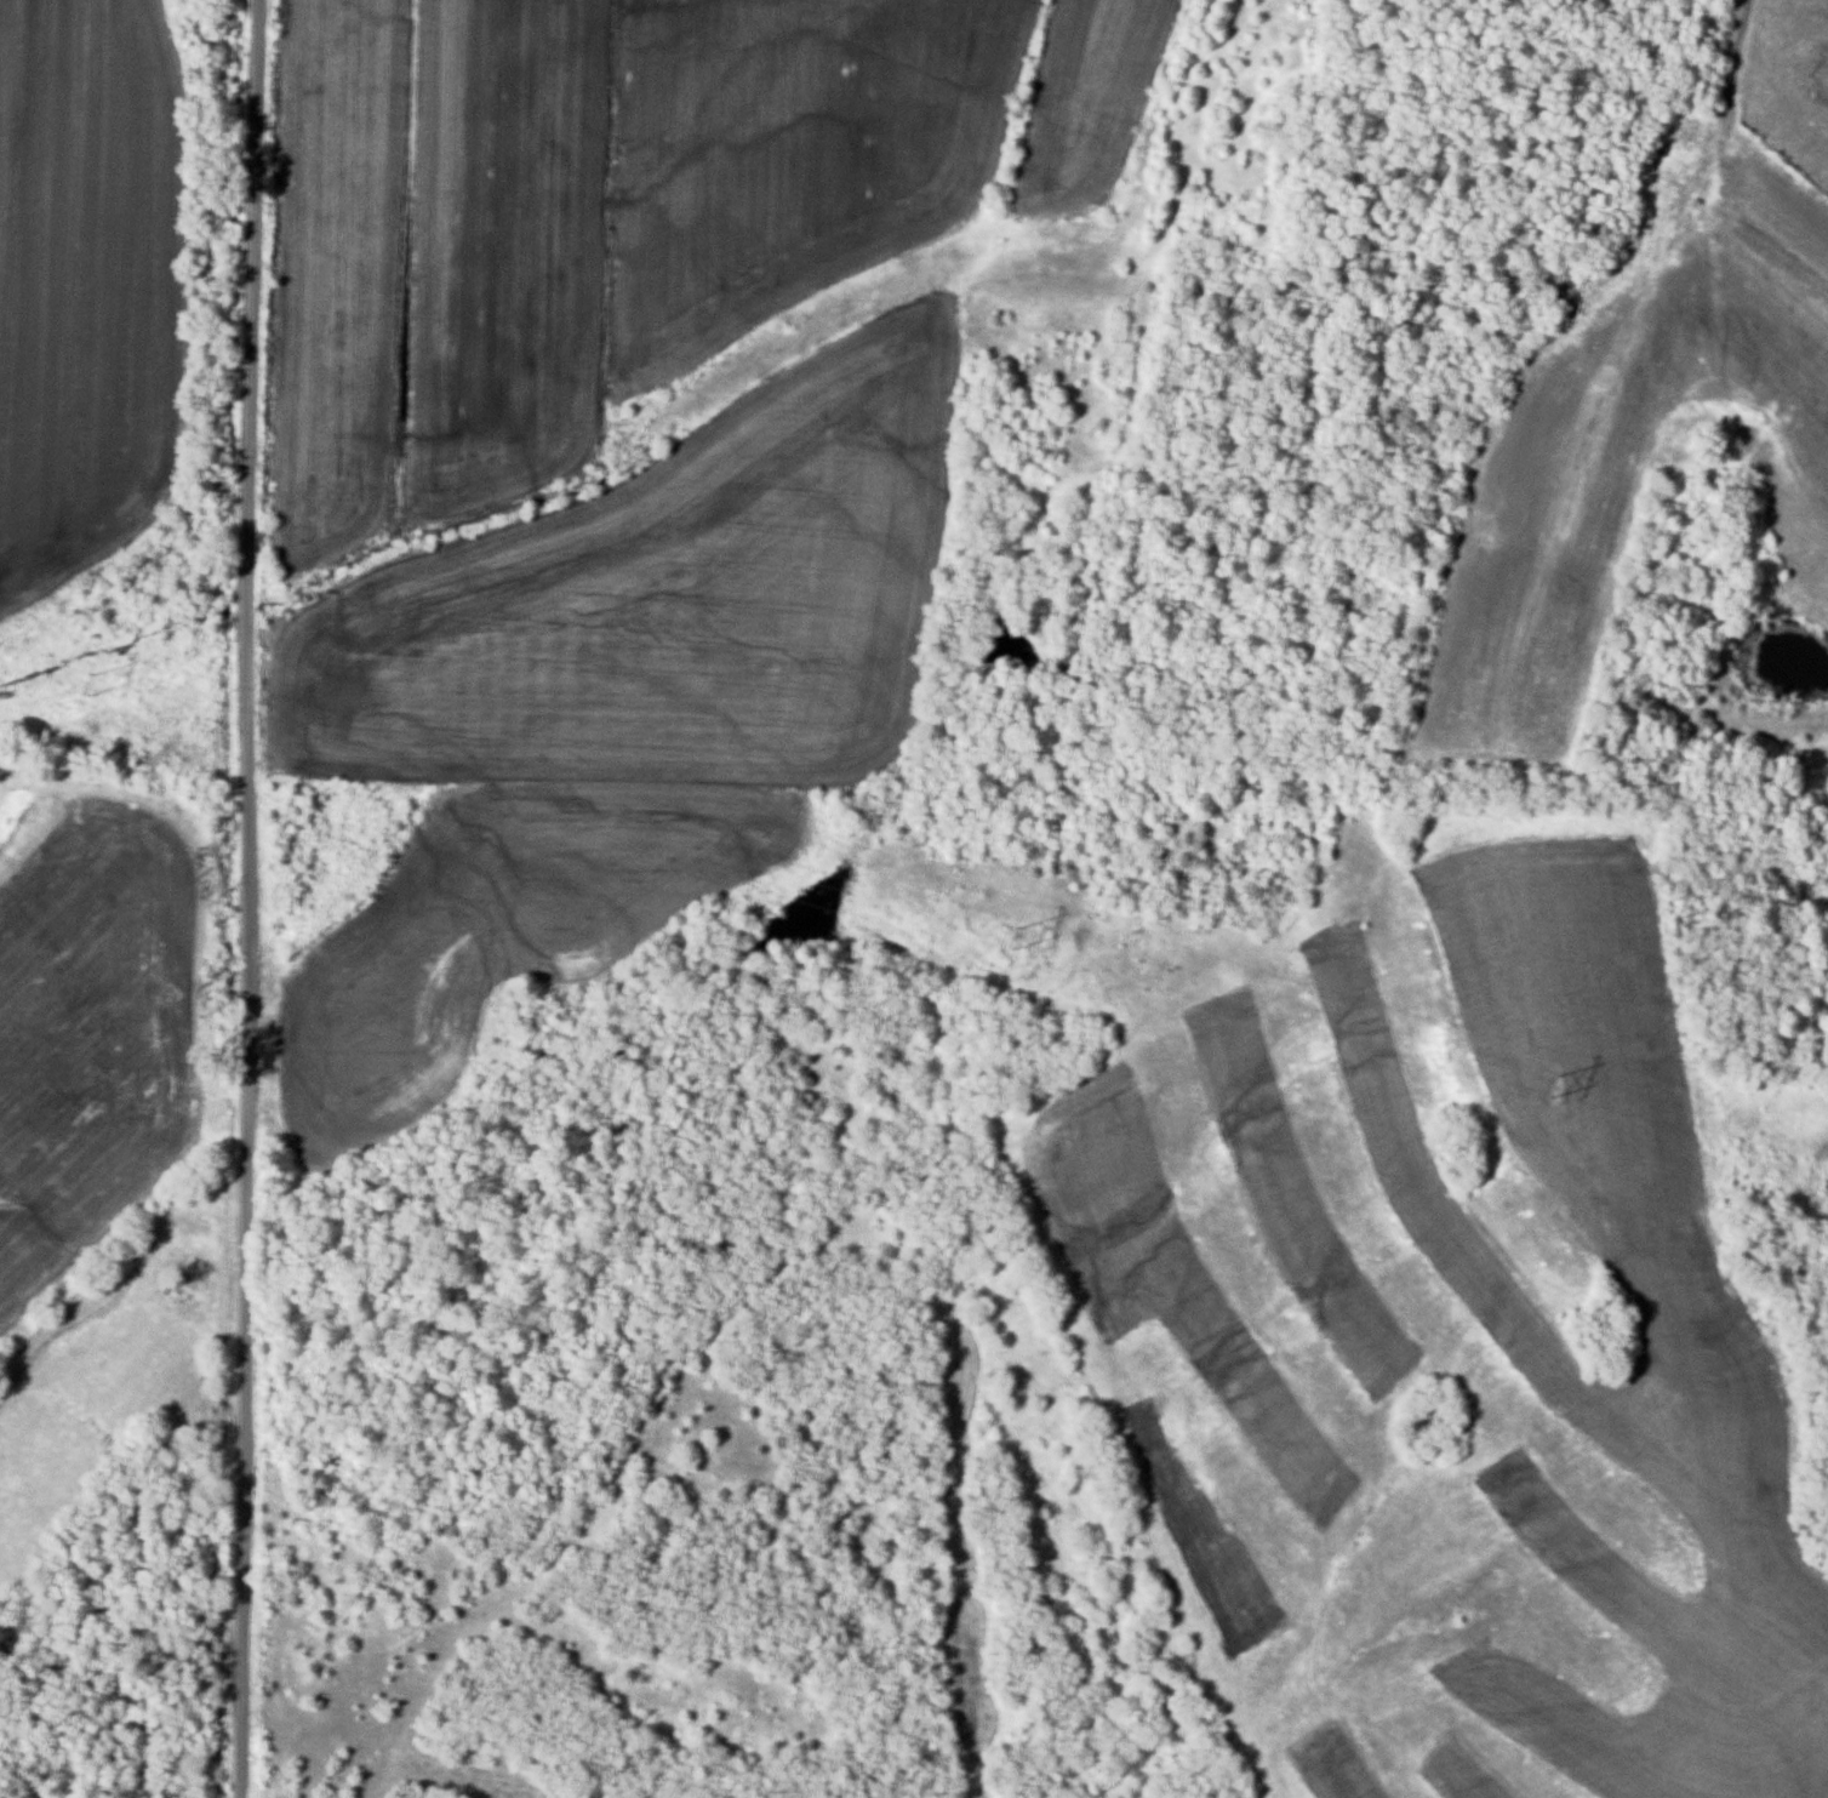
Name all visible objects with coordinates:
power tower: (86, 683)
road: (246, 898)
power tower: (1059, 941)
power tower: (1634, 1094)

